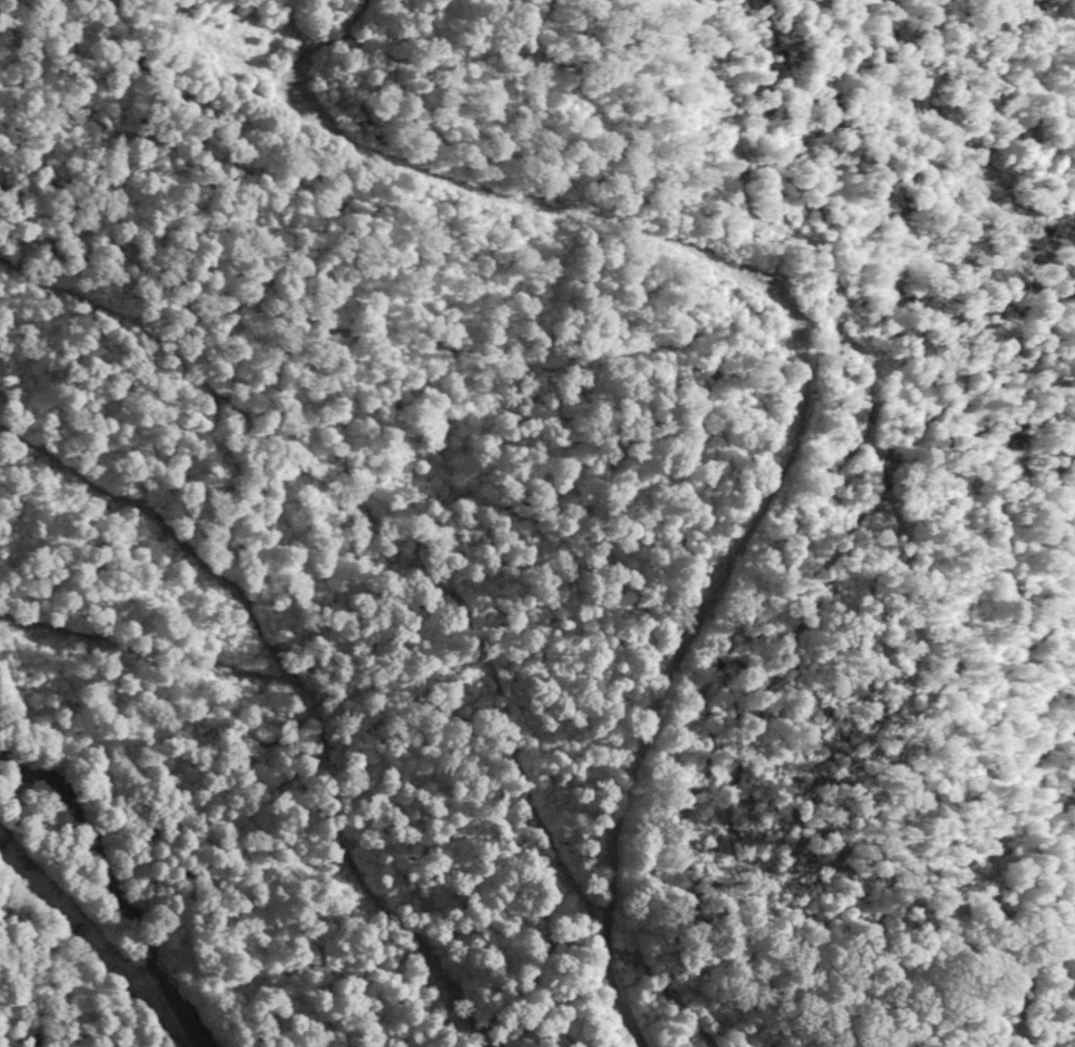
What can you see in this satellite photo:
road: (114, 886)

